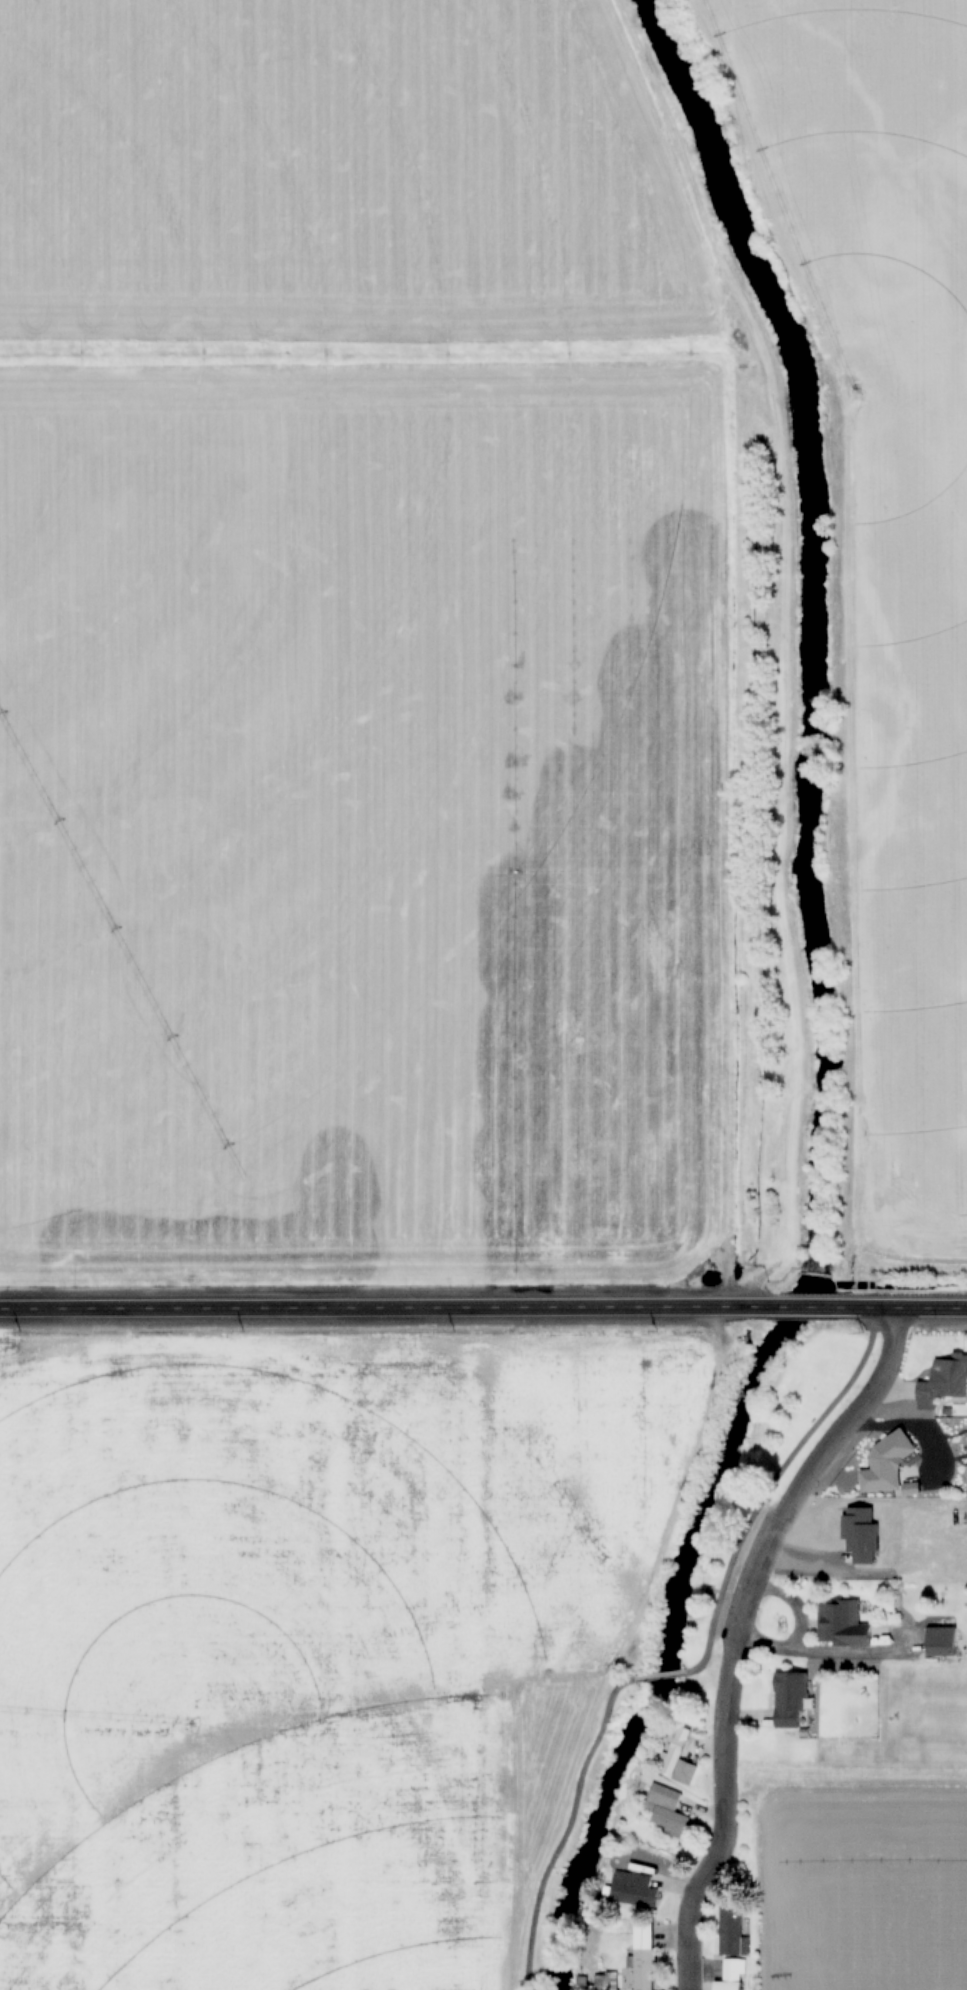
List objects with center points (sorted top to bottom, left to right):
road: (785, 646)
river: (820, 1003)
road: (805, 1308)
road: (904, 1308)
road: (384, 1310)
building: (943, 1382)
building: (884, 1465)
road: (772, 1485)
building: (842, 1624)
road: (741, 1631)
building: (941, 1642)
crop: (299, 1659)
road: (662, 1676)
building: (791, 1700)
building: (676, 1757)
building: (665, 1810)
road: (568, 1827)
building: (634, 1889)
crop: (855, 1893)
building: (731, 1930)
building: (644, 1956)
building: (731, 1975)
building: (599, 1981)

